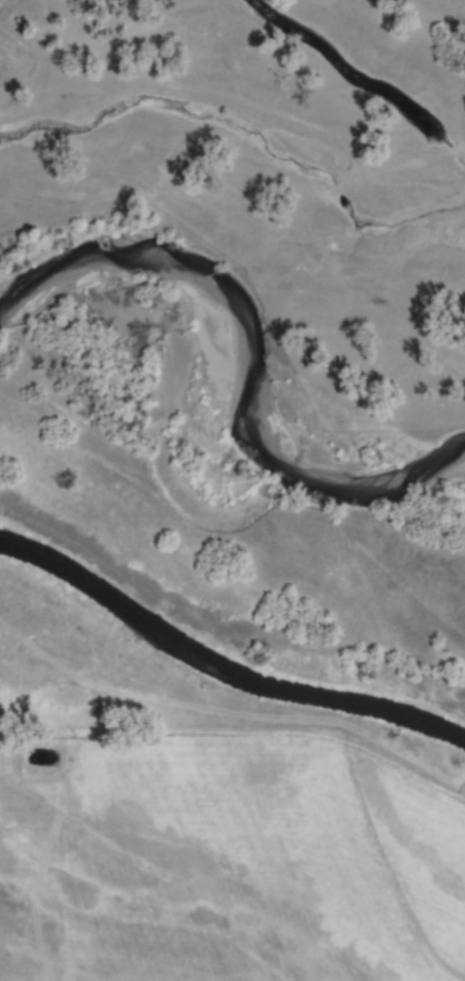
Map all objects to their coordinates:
river: (232, 361)

